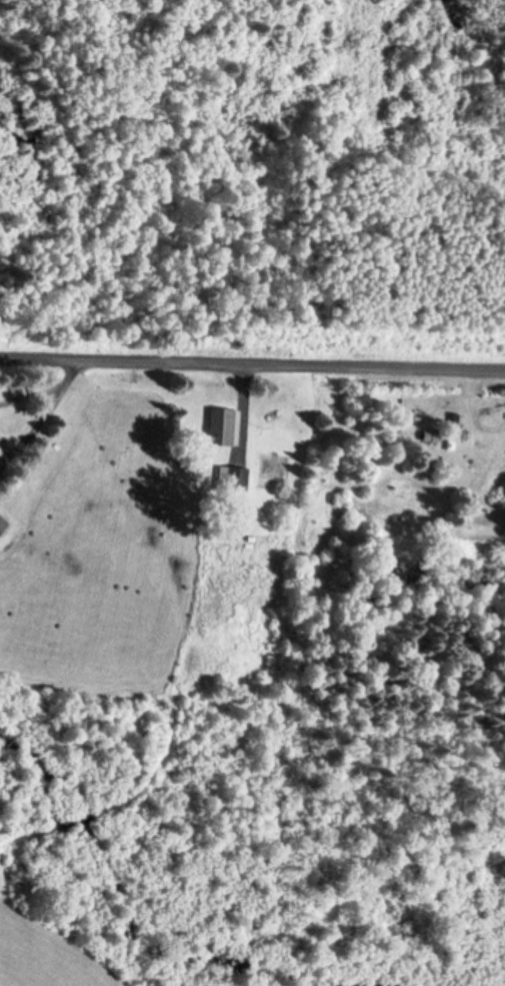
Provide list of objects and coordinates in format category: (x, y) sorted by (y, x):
road: (252, 348)
building: (457, 420)
building: (221, 425)
building: (234, 478)
building: (2, 522)

